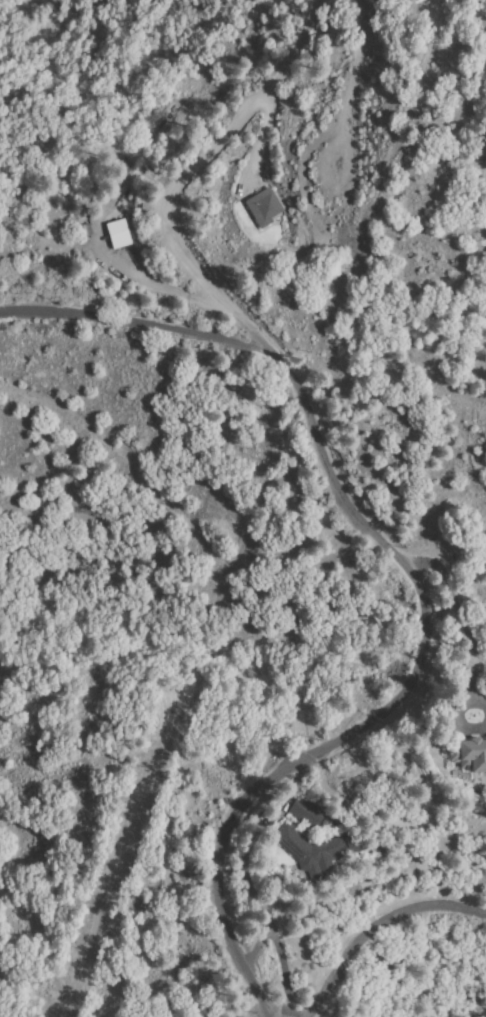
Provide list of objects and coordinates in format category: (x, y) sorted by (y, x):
building: (266, 205)
building: (119, 234)
road: (132, 323)
road: (344, 520)
building: (471, 755)
building: (307, 813)
building: (322, 850)
road: (370, 923)

